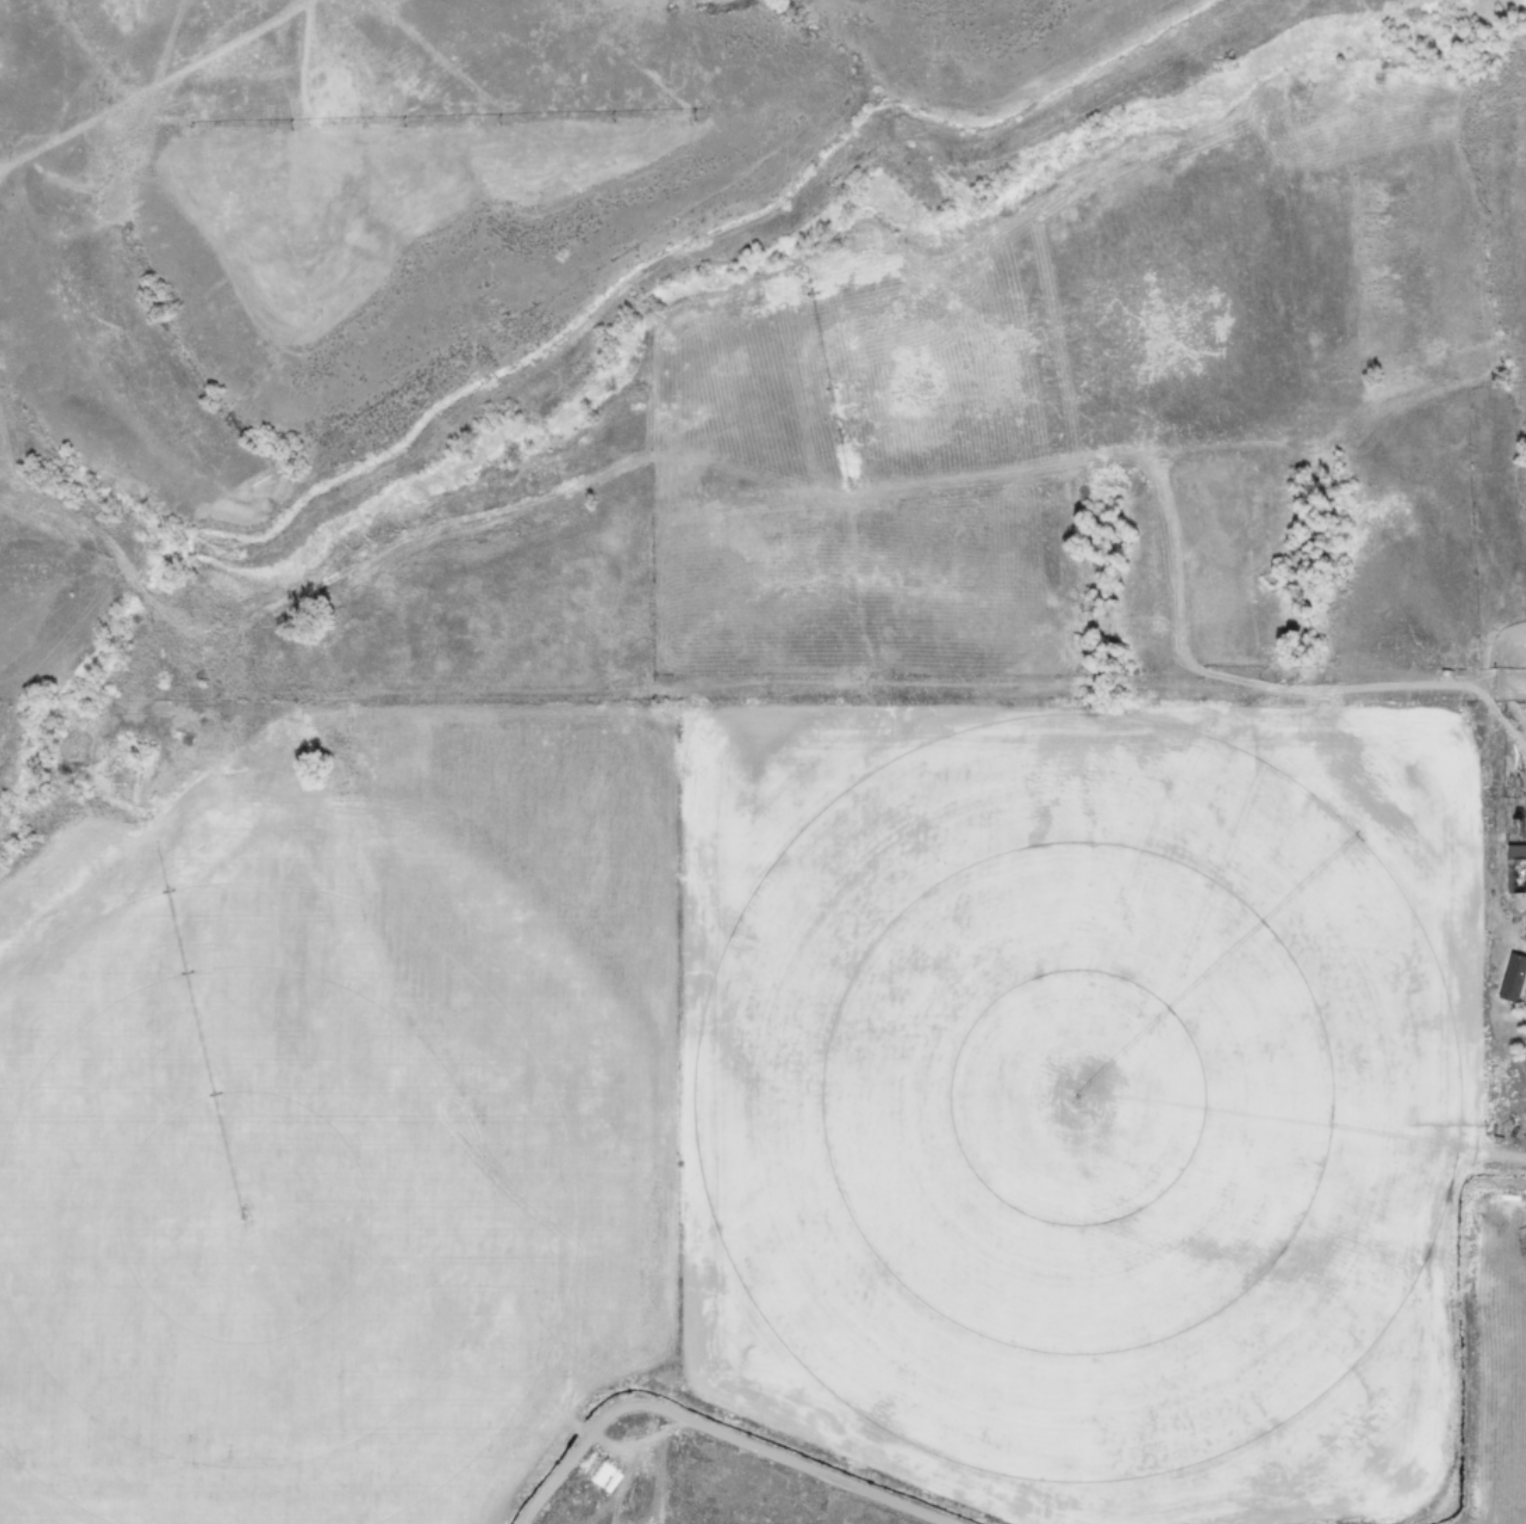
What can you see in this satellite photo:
building: (1516, 867)
building: (1512, 976)
road: (715, 1429)

